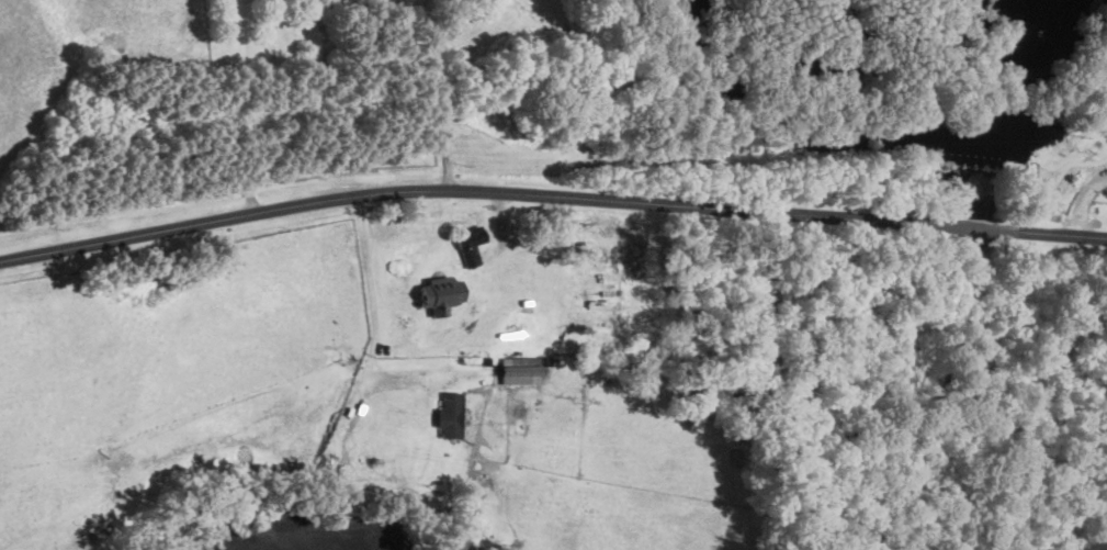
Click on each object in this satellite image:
road: (432, 94)
dam: (871, 162)
park: (1069, 170)
road: (477, 190)
road: (992, 227)
road: (1064, 234)
building: (468, 245)
road: (366, 271)
building: (518, 373)
building: (449, 414)

